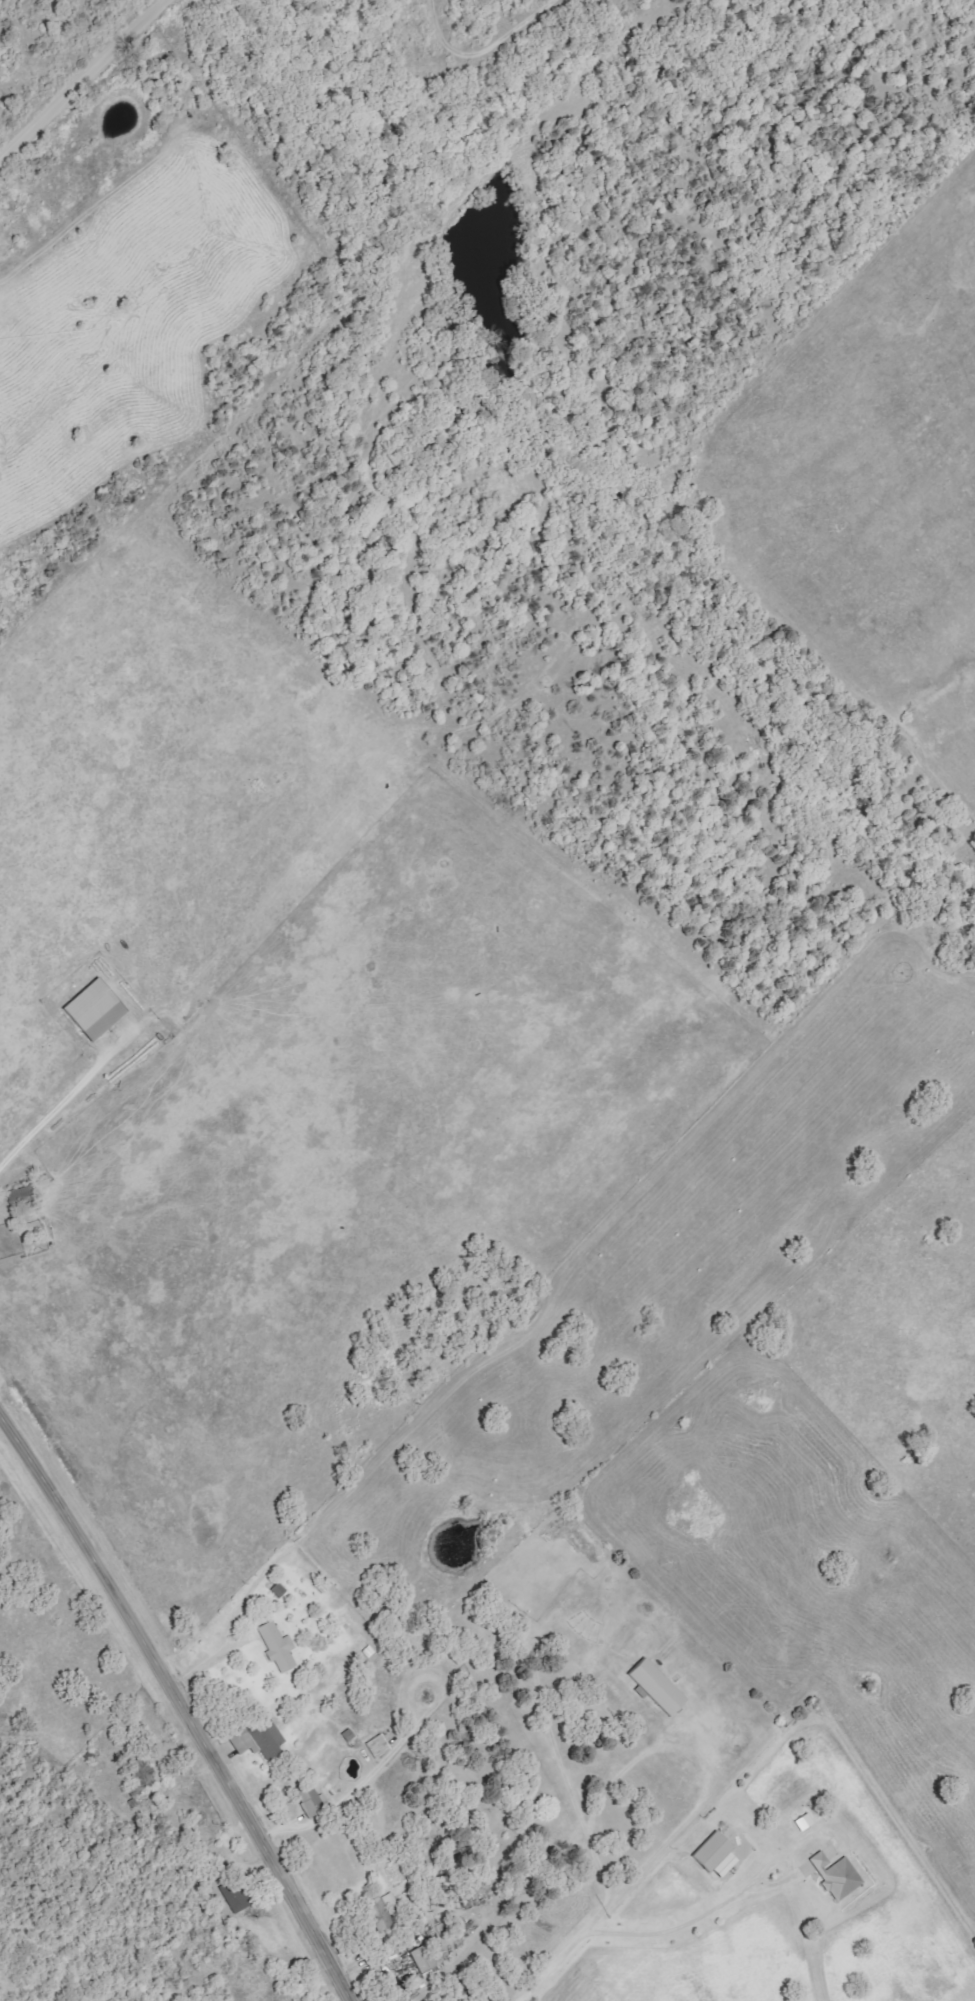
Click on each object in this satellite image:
road: (83, 78)
building: (93, 1010)
building: (278, 1590)
building: (276, 1645)
building: (654, 1686)
road: (180, 1705)
building: (347, 1735)
building: (258, 1737)
building: (376, 1746)
building: (309, 1800)
building: (714, 1855)
building: (807, 1868)
building: (836, 1875)
road: (725, 1904)
building: (379, 1910)
road: (592, 1924)
building: (422, 1958)

